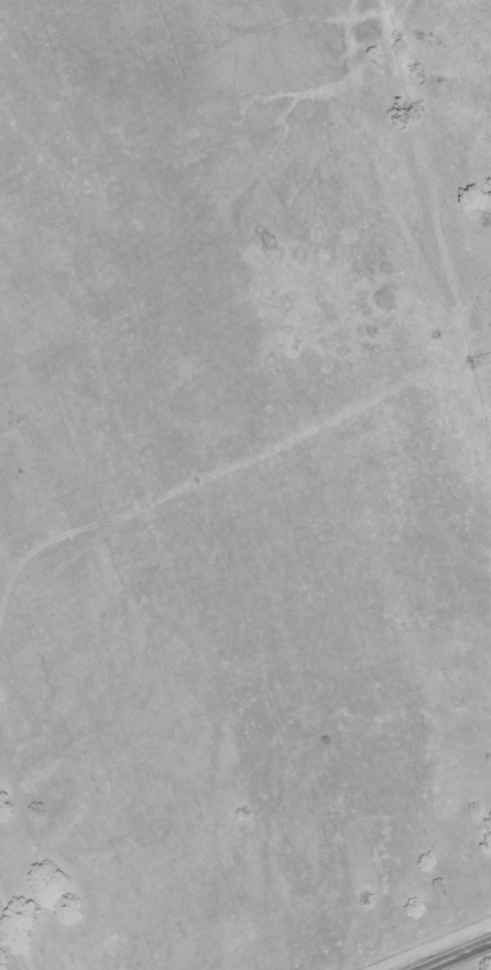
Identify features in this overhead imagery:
road: (11, 942)
road: (460, 956)

